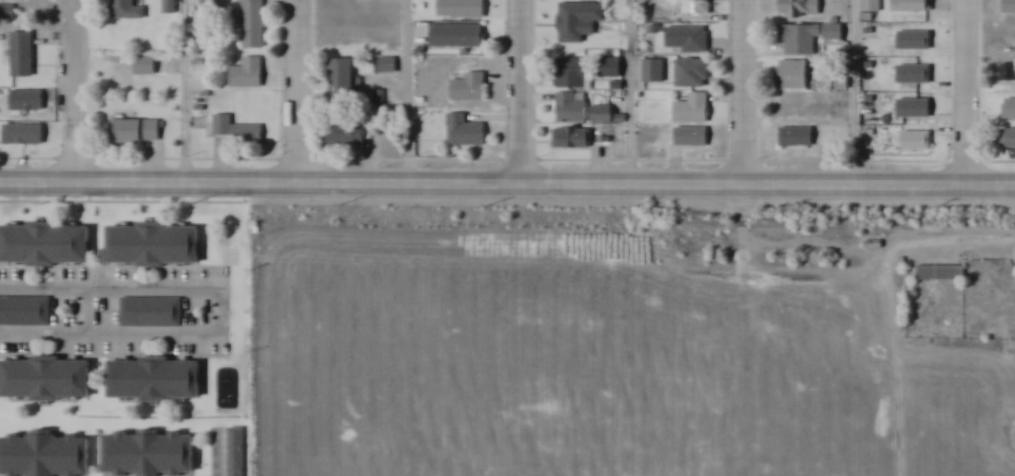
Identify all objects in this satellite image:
building: (213, 5)
building: (913, 6)
building: (169, 7)
building: (697, 7)
building: (801, 8)
building: (462, 9)
building: (871, 9)
building: (1003, 9)
building: (126, 10)
building: (6, 11)
building: (569, 15)
building: (253, 24)
building: (835, 33)
building: (458, 36)
building: (800, 39)
building: (687, 40)
building: (22, 54)
building: (388, 65)
building: (145, 66)
building: (611, 68)
building: (655, 71)
building: (572, 73)
building: (693, 73)
building: (1008, 73)
building: (249, 74)
building: (794, 75)
building: (343, 78)
building: (470, 88)
road: (75, 92)
road: (185, 92)
road: (297, 92)
road: (409, 92)
road: (521, 92)
road: (631, 93)
road: (742, 93)
road: (856, 93)
road: (965, 93)
building: (27, 100)
building: (572, 108)
building: (693, 110)
building: (603, 114)
building: (465, 131)
building: (136, 132)
building: (238, 132)
building: (23, 134)
building: (351, 136)
building: (692, 137)
building: (798, 137)
building: (573, 138)
building: (1009, 139)
road: (507, 184)
building: (45, 245)
building: (155, 246)
road: (854, 249)
building: (940, 273)
building: (26, 306)
building: (152, 307)
road: (222, 311)
building: (46, 380)
building: (156, 380)
building: (236, 451)
building: (151, 454)
building: (46, 456)

